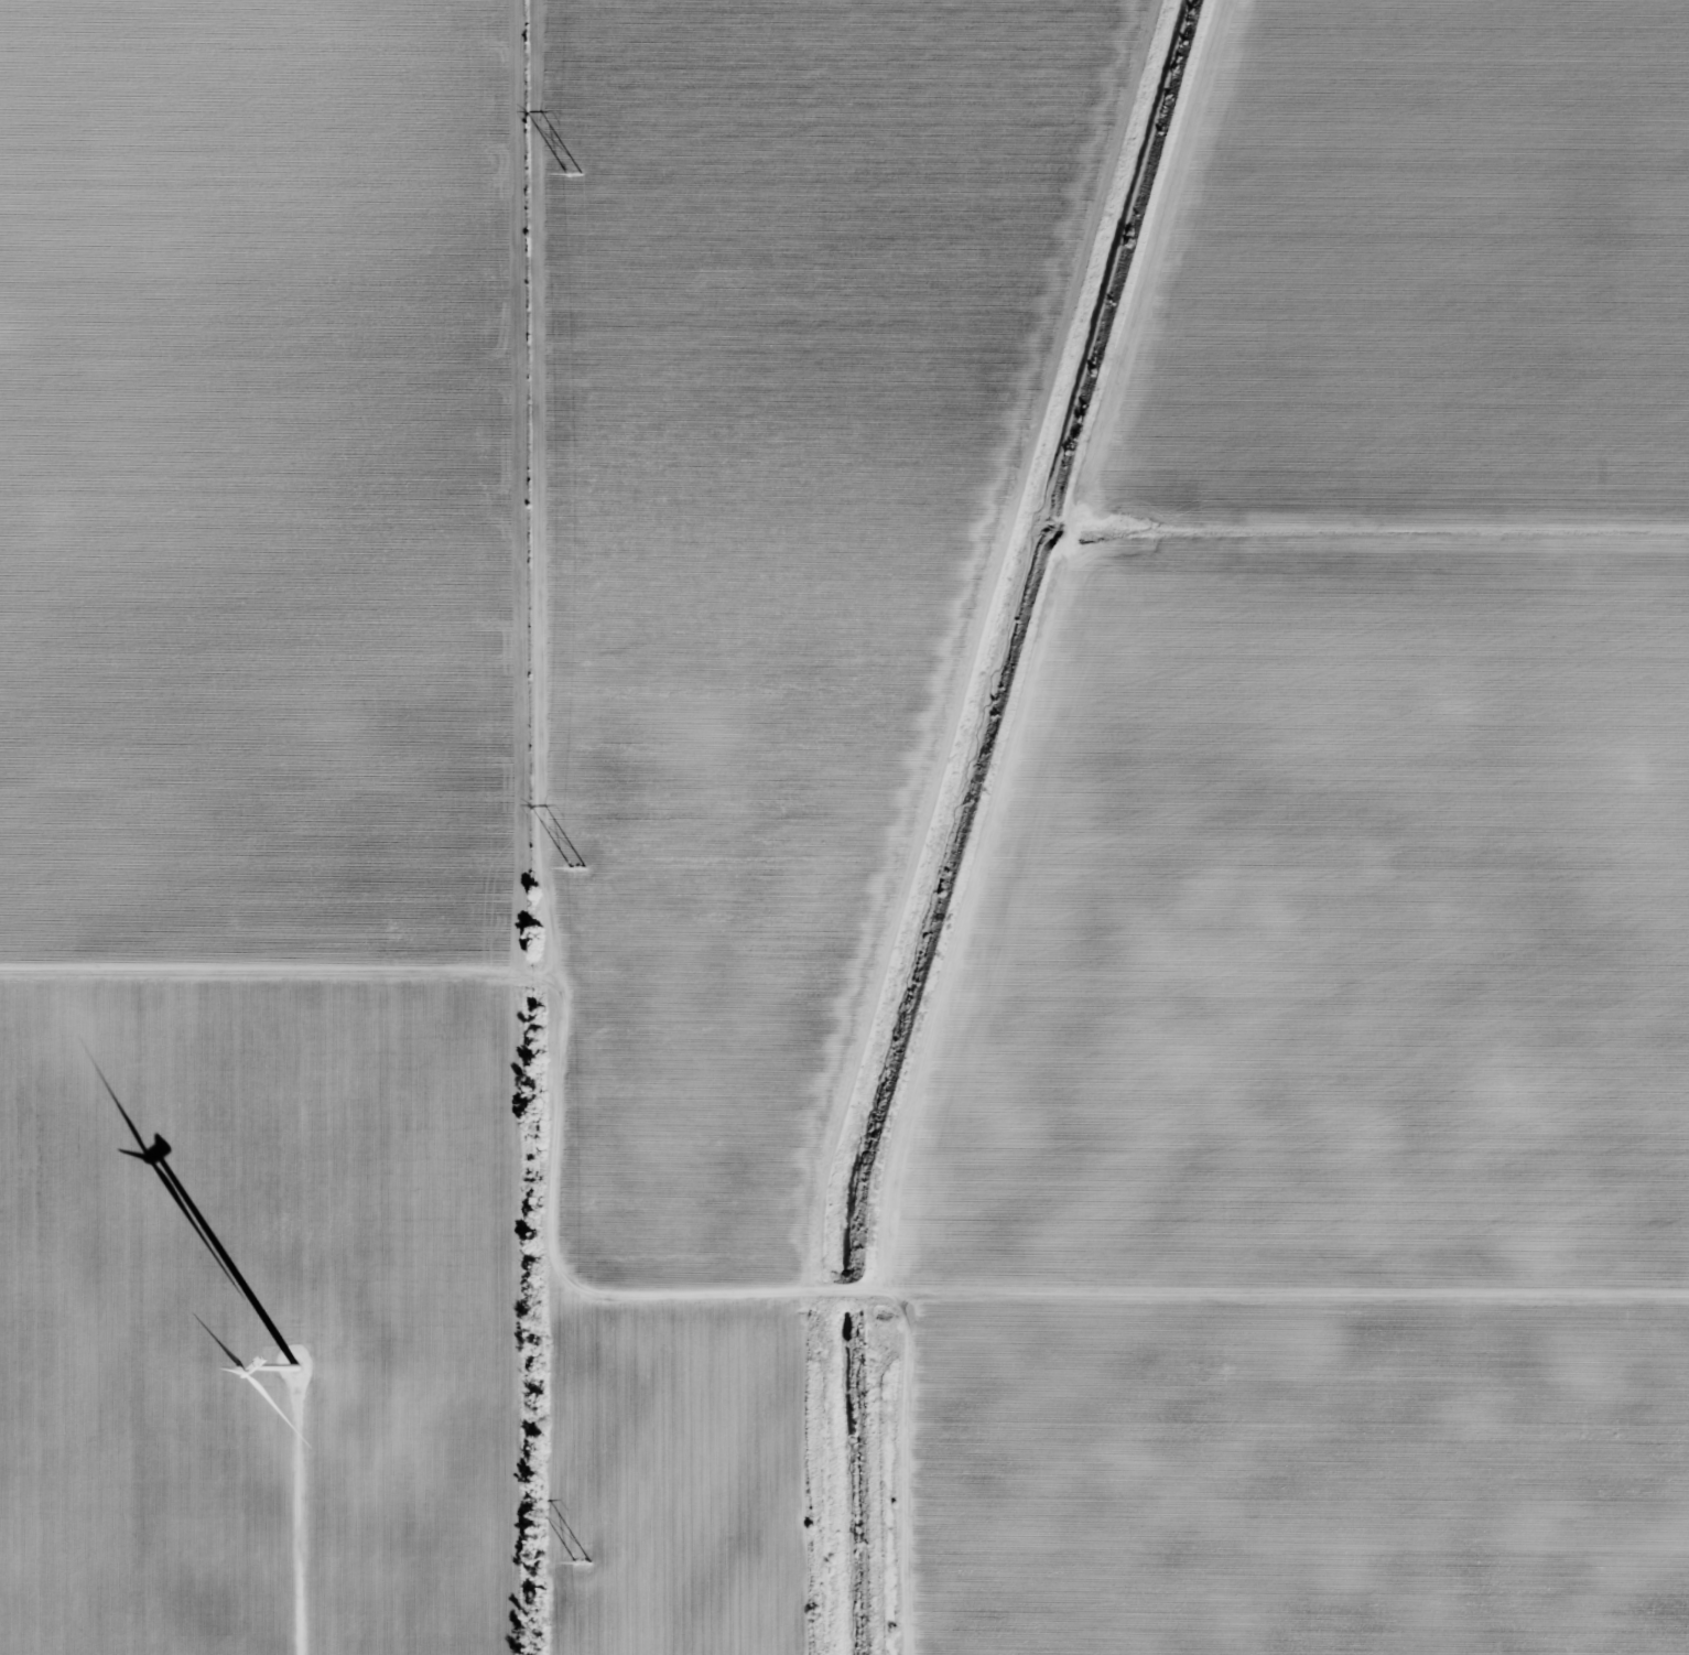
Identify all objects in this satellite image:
power tower: (572, 176)
power tower: (577, 868)
wind turbine: (293, 1369)
road: (294, 1512)
power tower: (581, 1561)

